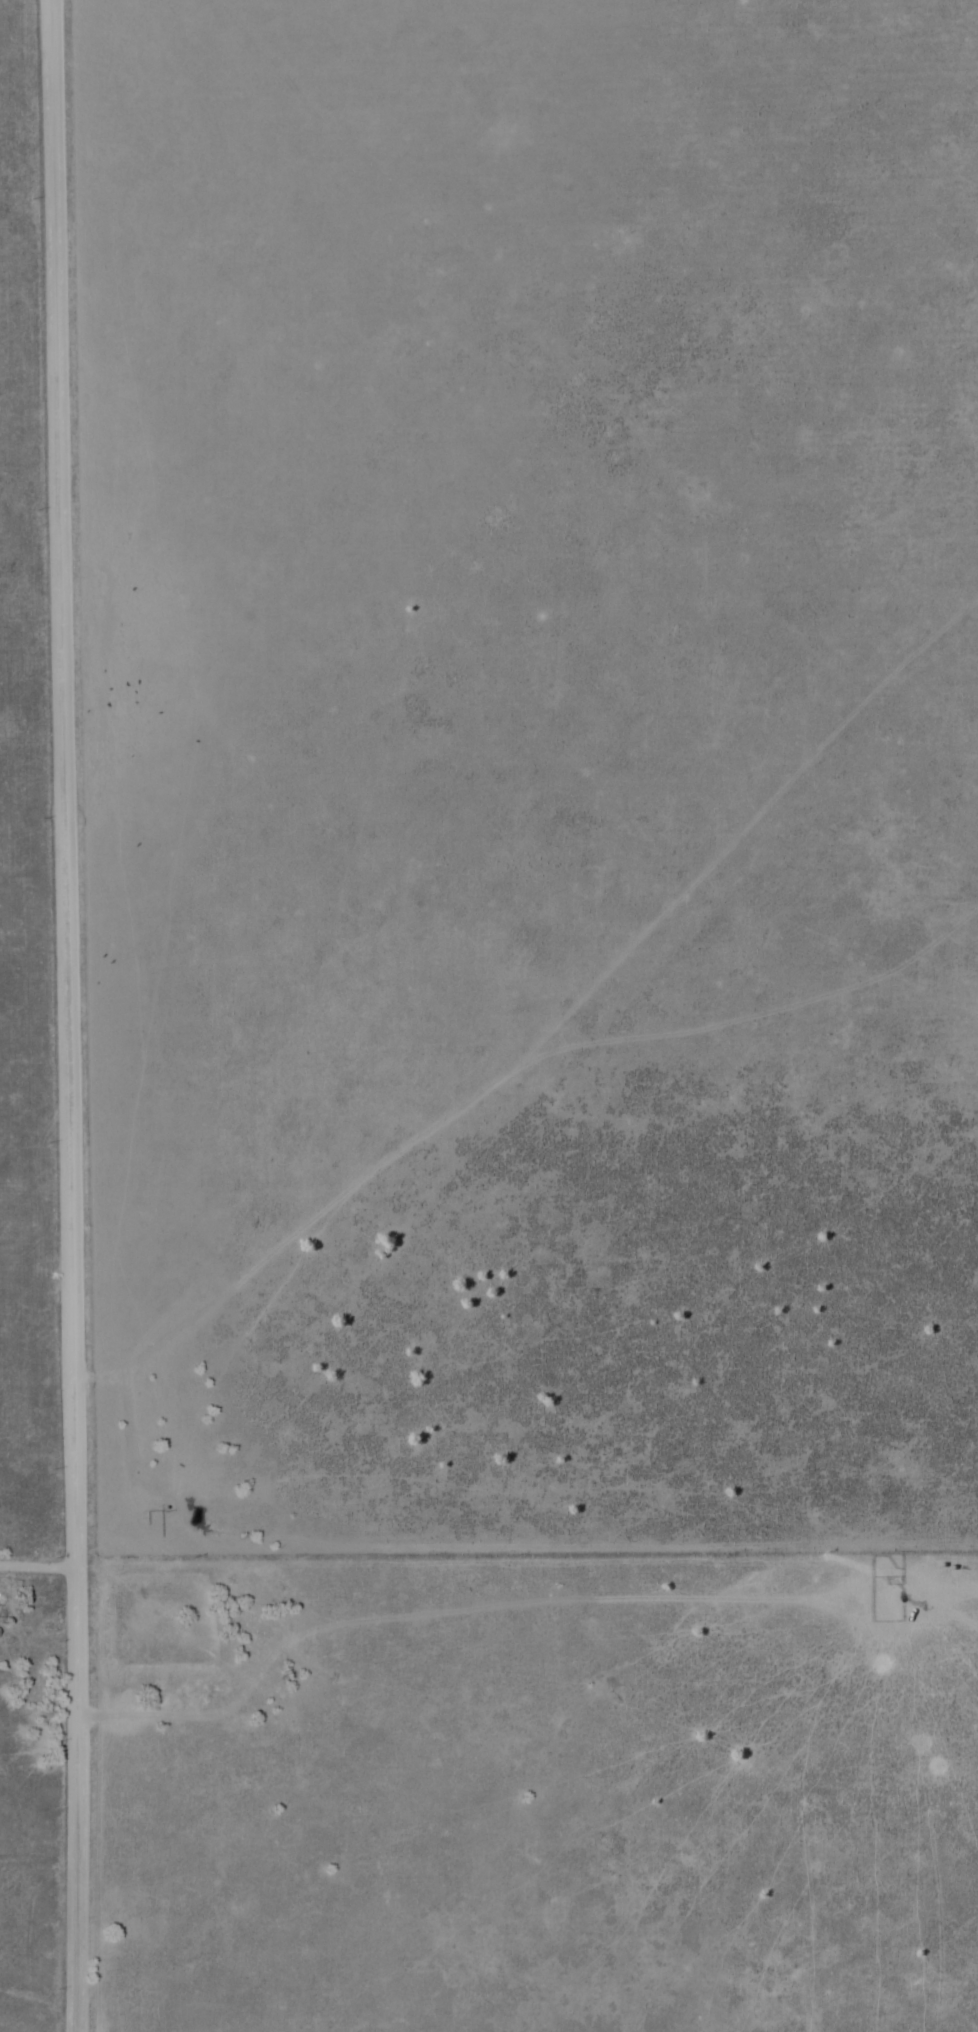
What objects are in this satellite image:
road: (70, 1015)
road: (39, 1571)

